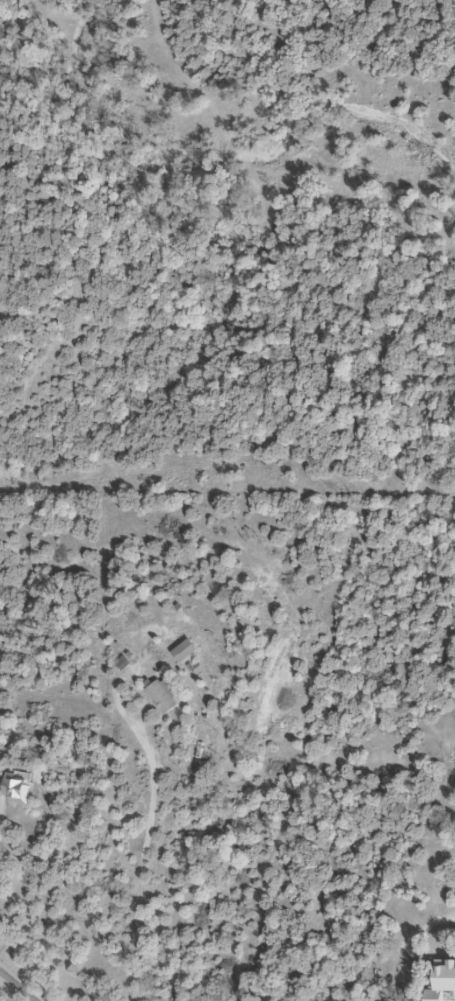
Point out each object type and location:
building: (181, 651)
building: (161, 695)
building: (440, 981)
road: (7, 995)

